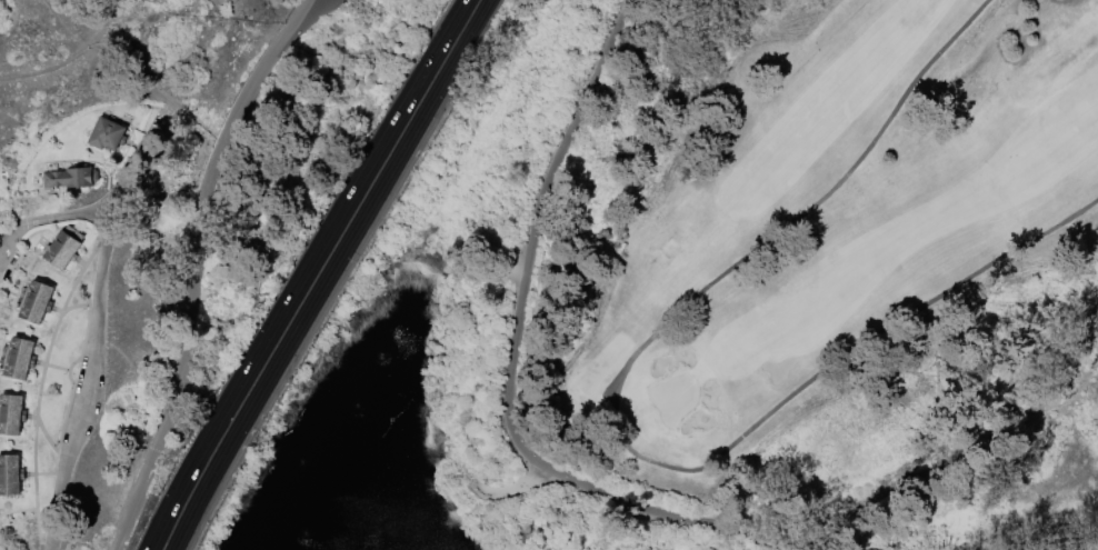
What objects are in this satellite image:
park: (158, 1)
road: (308, 19)
road: (68, 59)
road: (167, 111)
building: (108, 136)
building: (71, 180)
road: (60, 218)
road: (9, 227)
park: (827, 229)
road: (9, 243)
building: (66, 249)
road: (2, 250)
road: (21, 252)
road: (191, 267)
road: (303, 272)
road: (327, 273)
park: (549, 274)
road: (8, 292)
road: (17, 292)
building: (39, 303)
road: (87, 321)
road: (94, 328)
road: (509, 357)
building: (22, 359)
road: (40, 383)
park: (672, 396)
road: (69, 398)
building: (13, 416)
road: (618, 429)
road: (49, 440)
road: (456, 463)
building: (11, 477)
road: (507, 486)
road: (18, 512)

